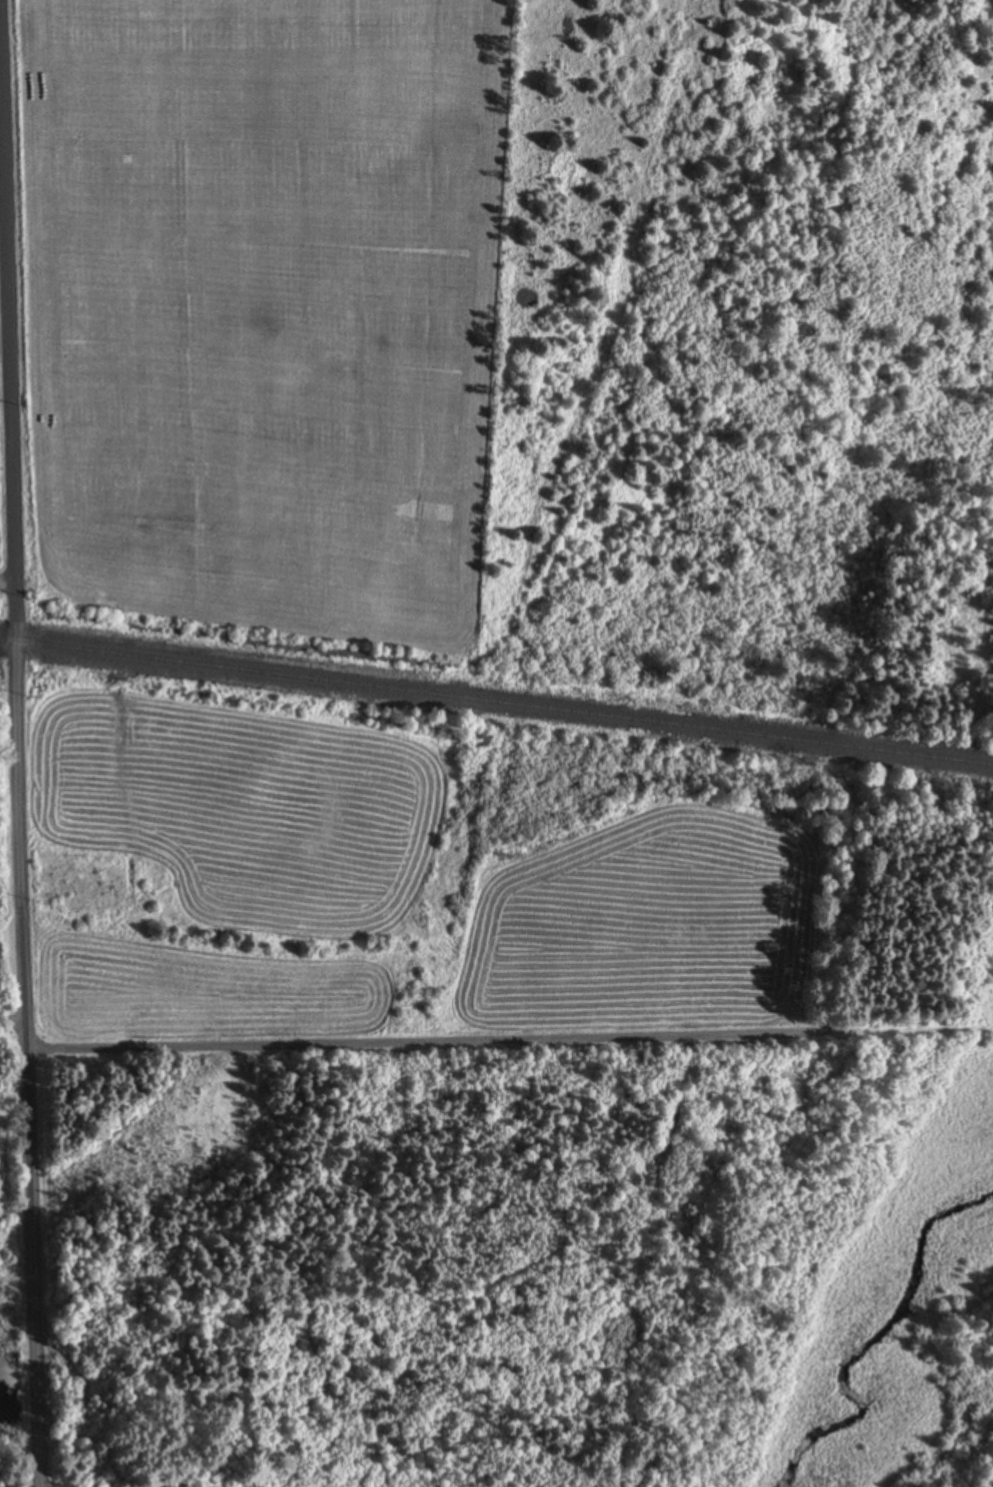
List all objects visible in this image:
airport: (1, 305)
park: (3, 495)
road: (7, 586)
railway: (496, 702)
road: (18, 755)
road: (425, 1042)

